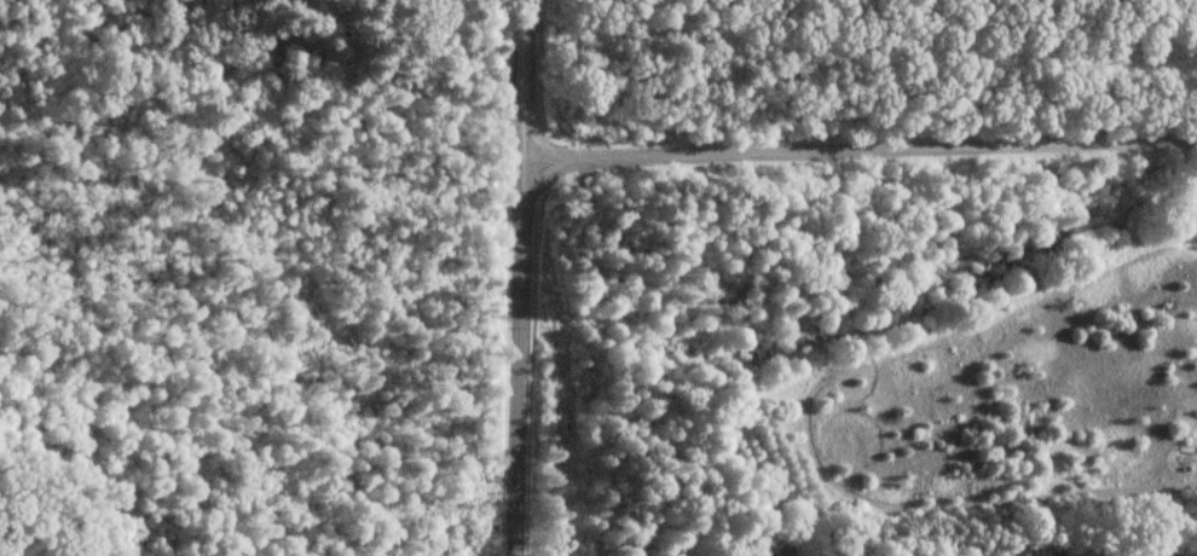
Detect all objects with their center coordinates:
road: (858, 144)
road: (517, 278)

